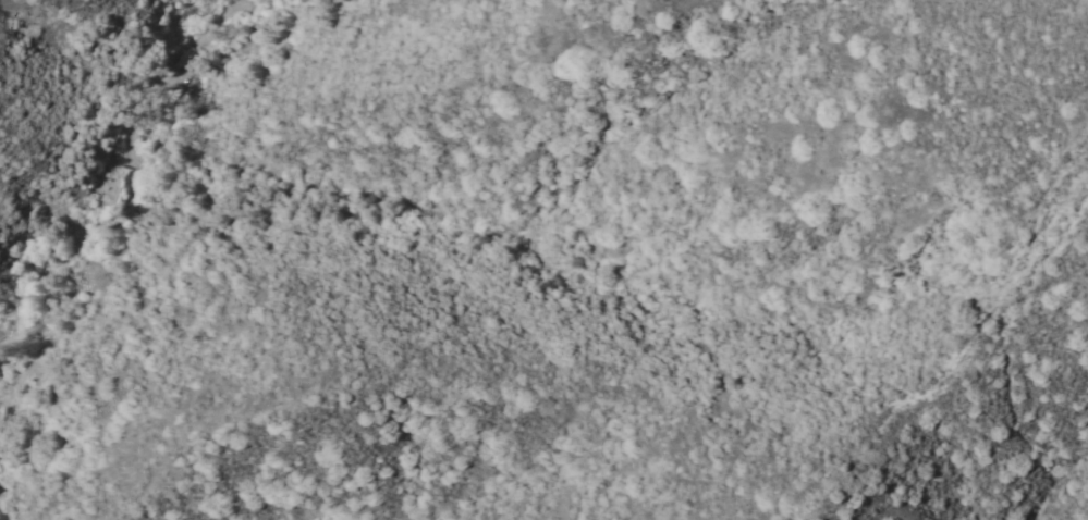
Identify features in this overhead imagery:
road: (98, 169)

